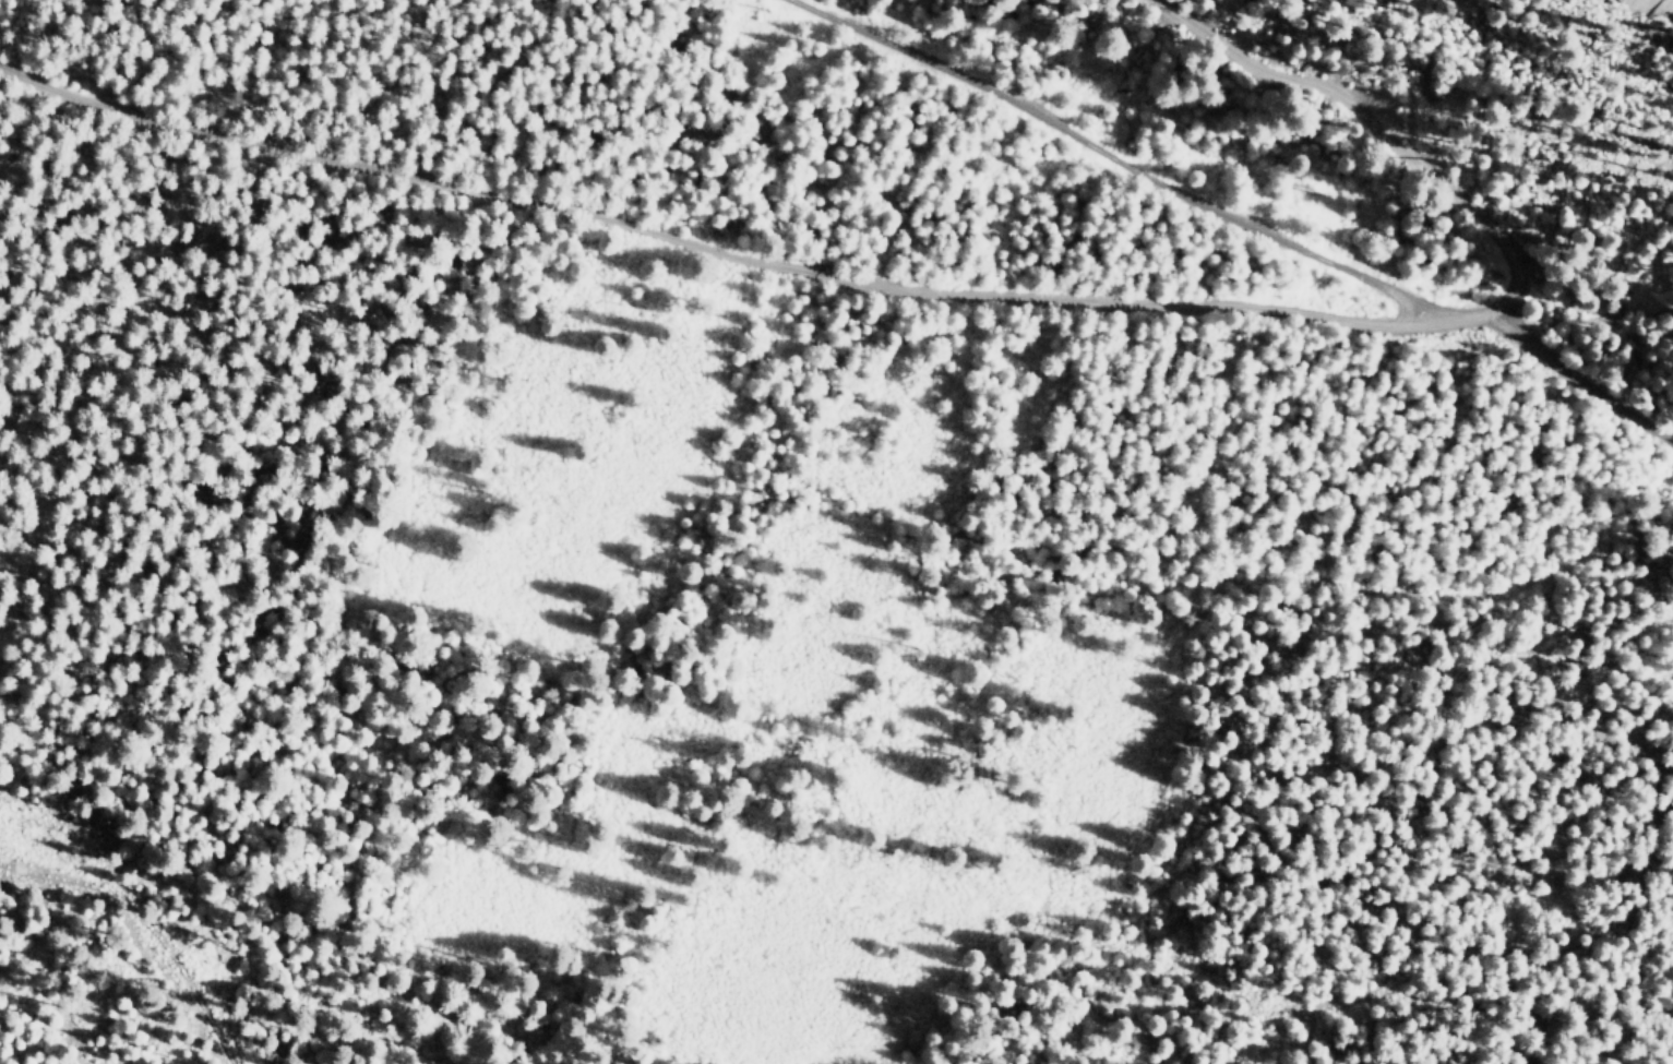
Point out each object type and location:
road: (1334, 112)
road: (1330, 191)
road: (775, 262)

